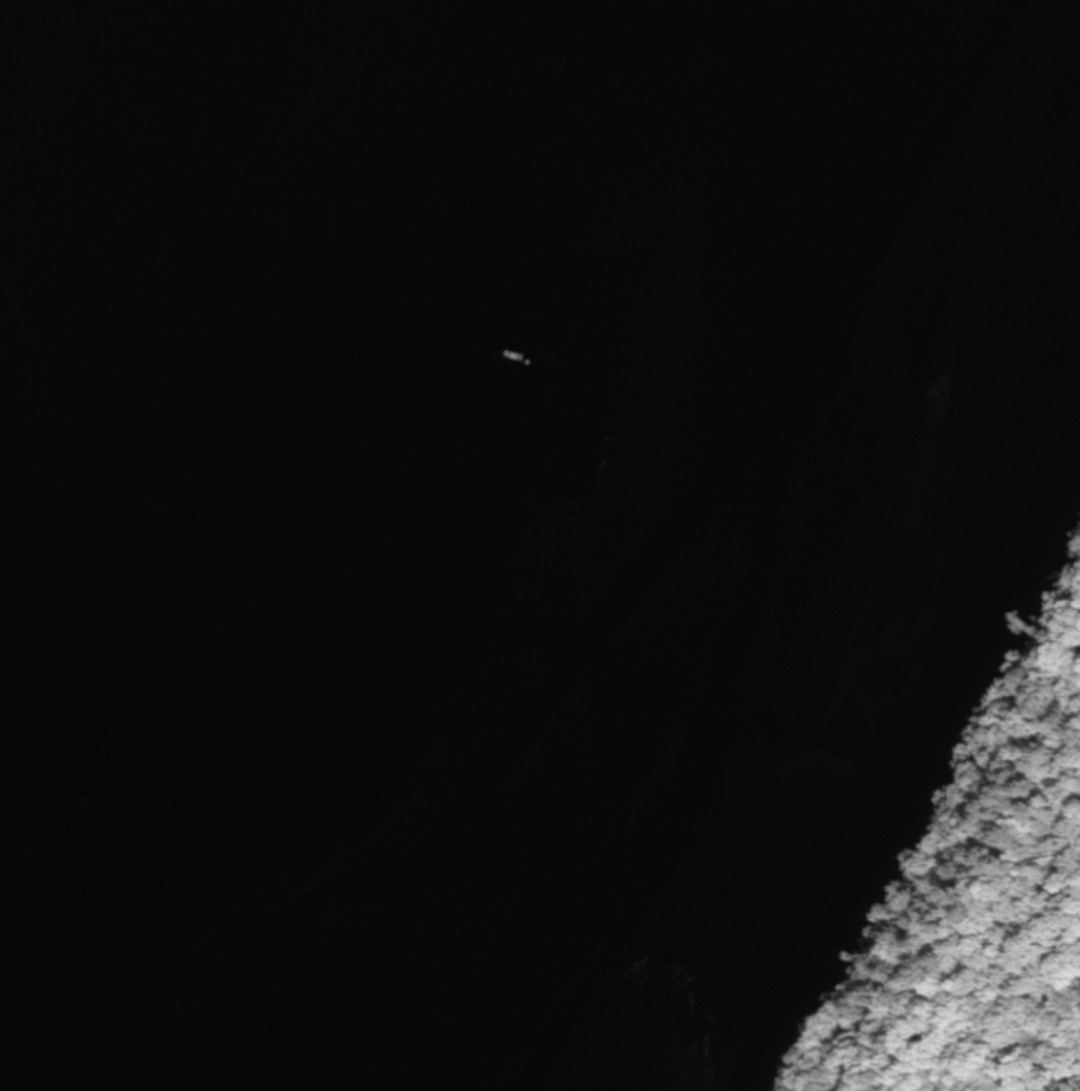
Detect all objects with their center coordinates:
river: (425, 560)

